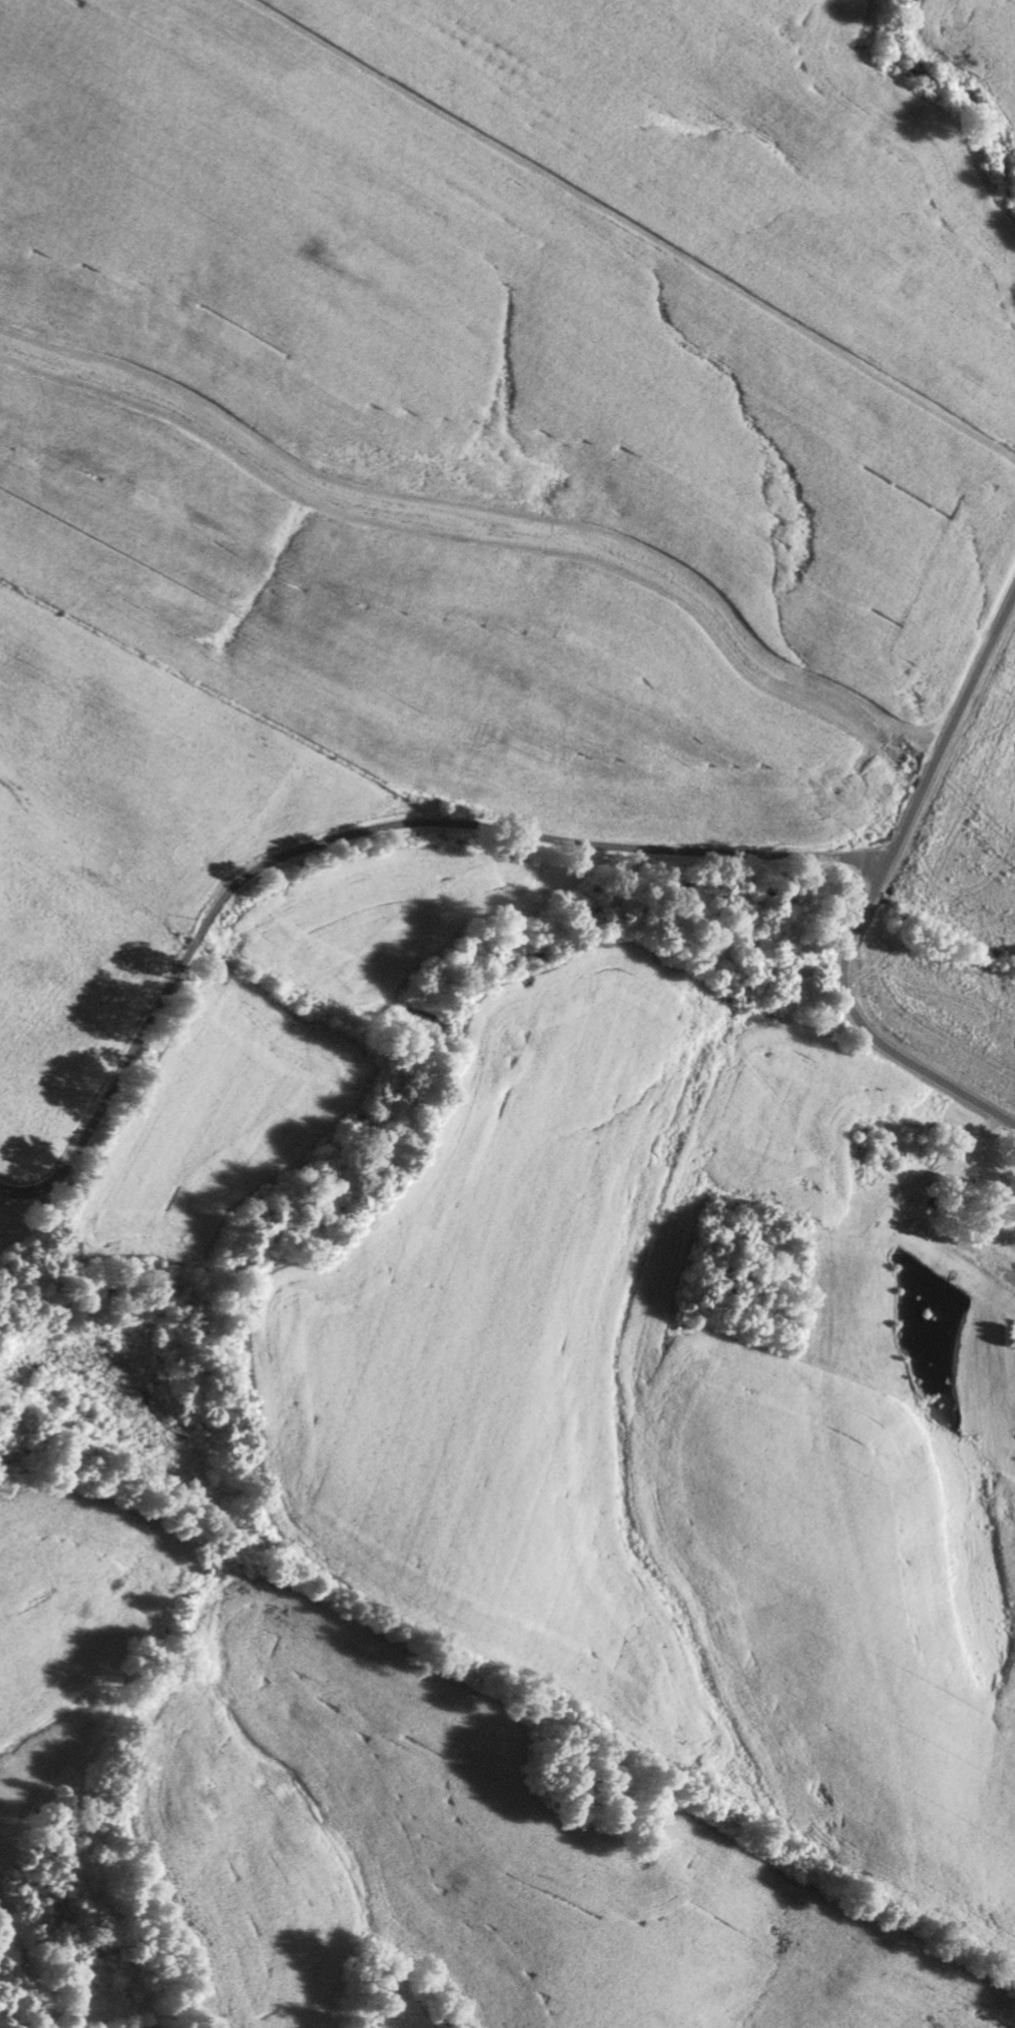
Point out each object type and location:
road: (357, 833)
road: (872, 893)

